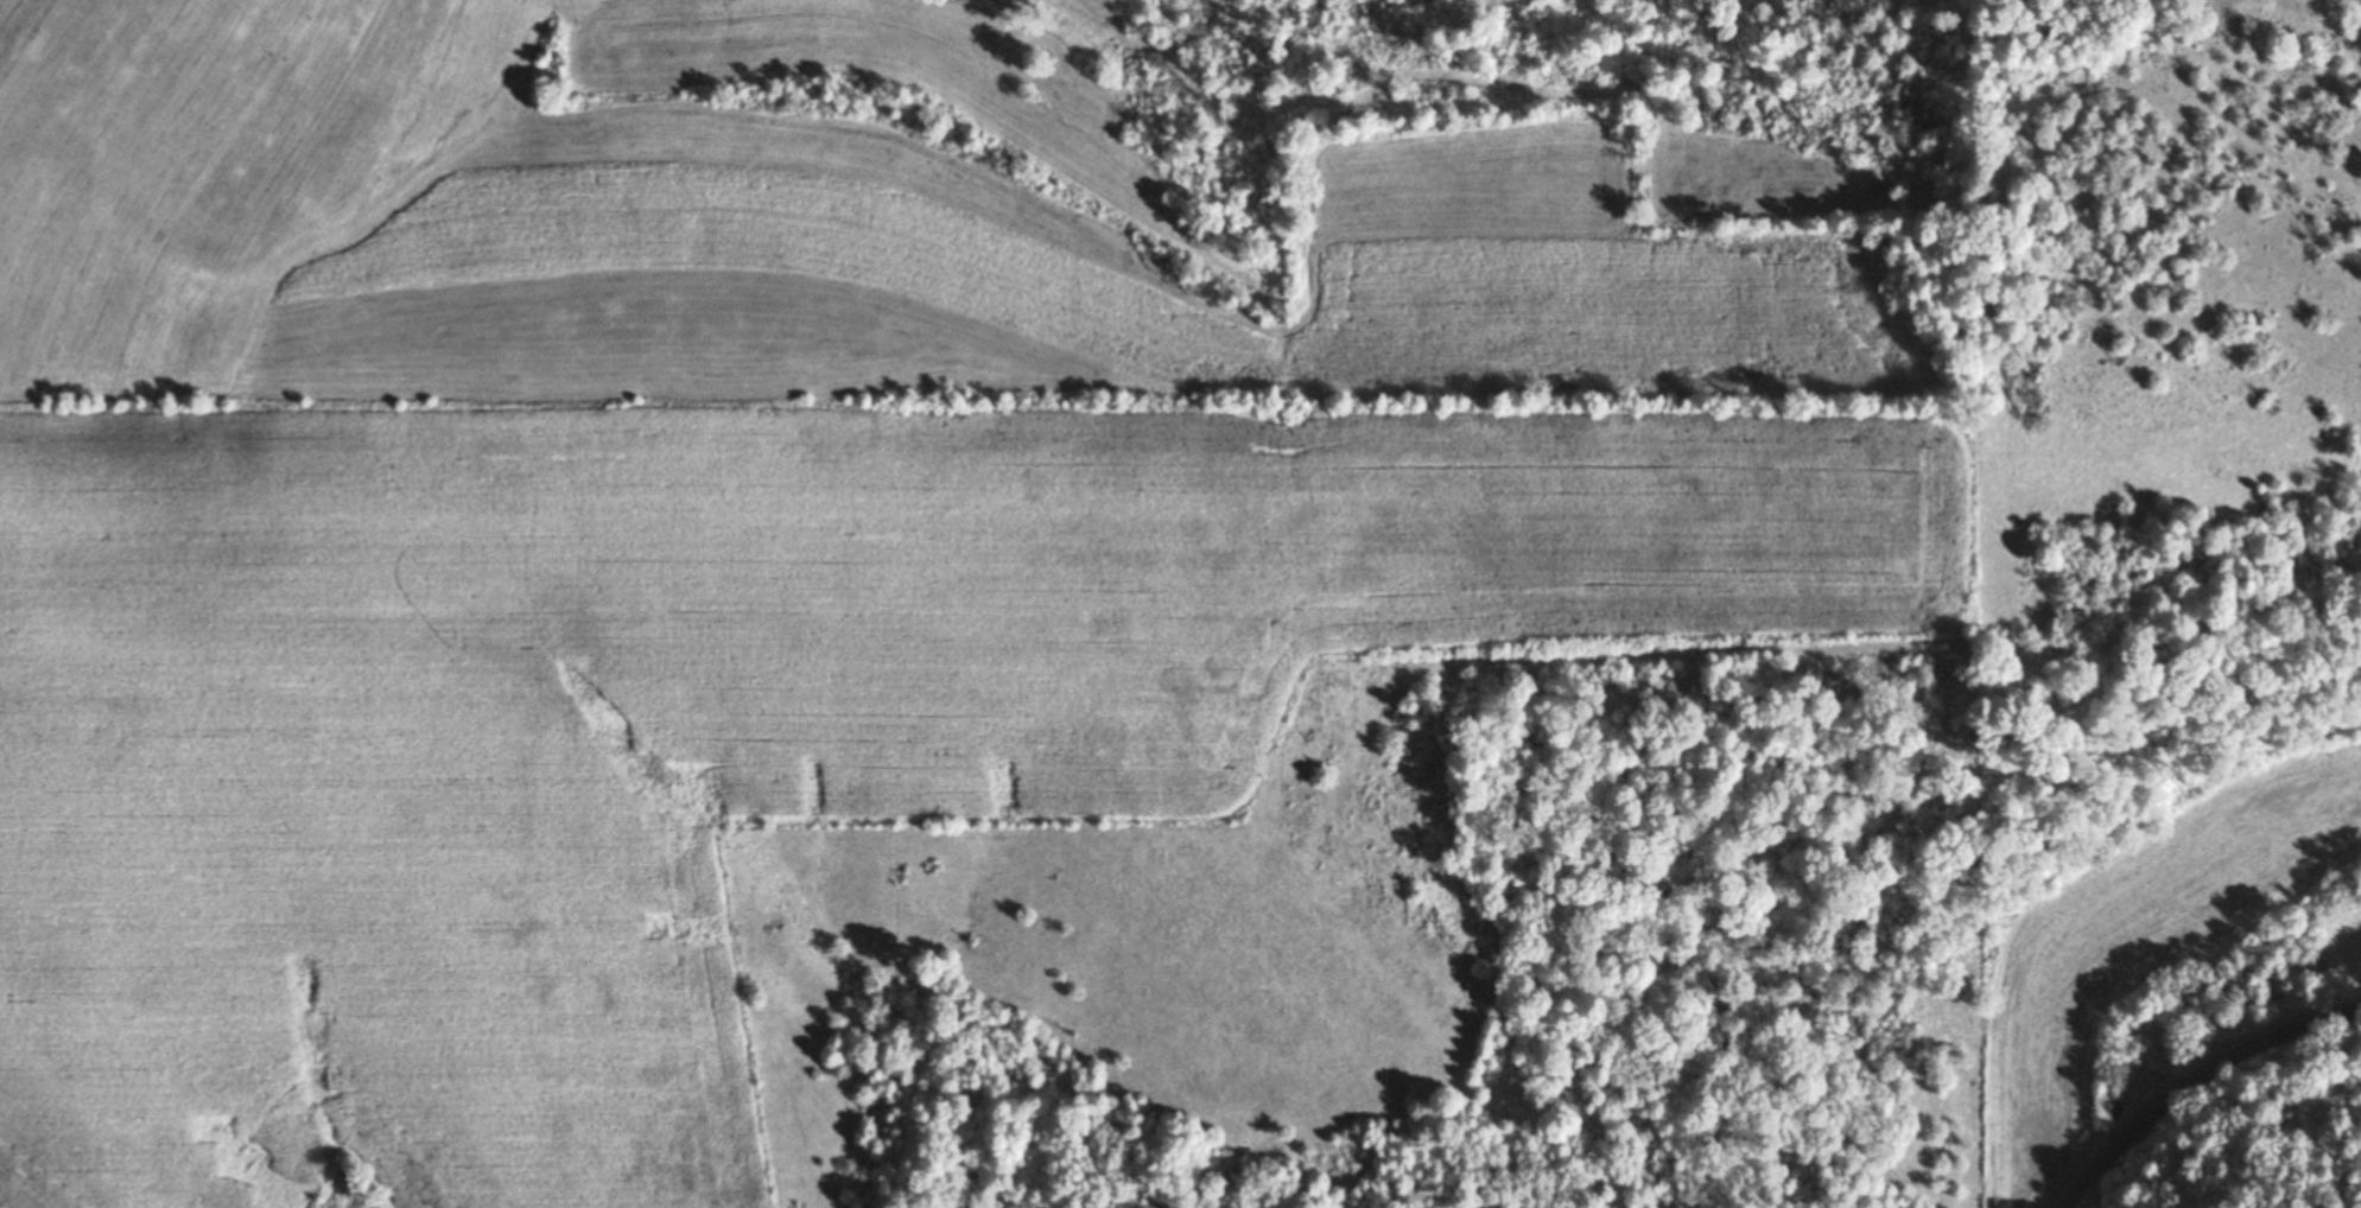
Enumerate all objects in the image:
crop: (1669, 2)
crop: (1199, 69)
crop: (64, 109)
crop: (585, 239)
crop: (1565, 281)
crop: (820, 762)
crop: (2131, 962)
road: (2194, 1074)

